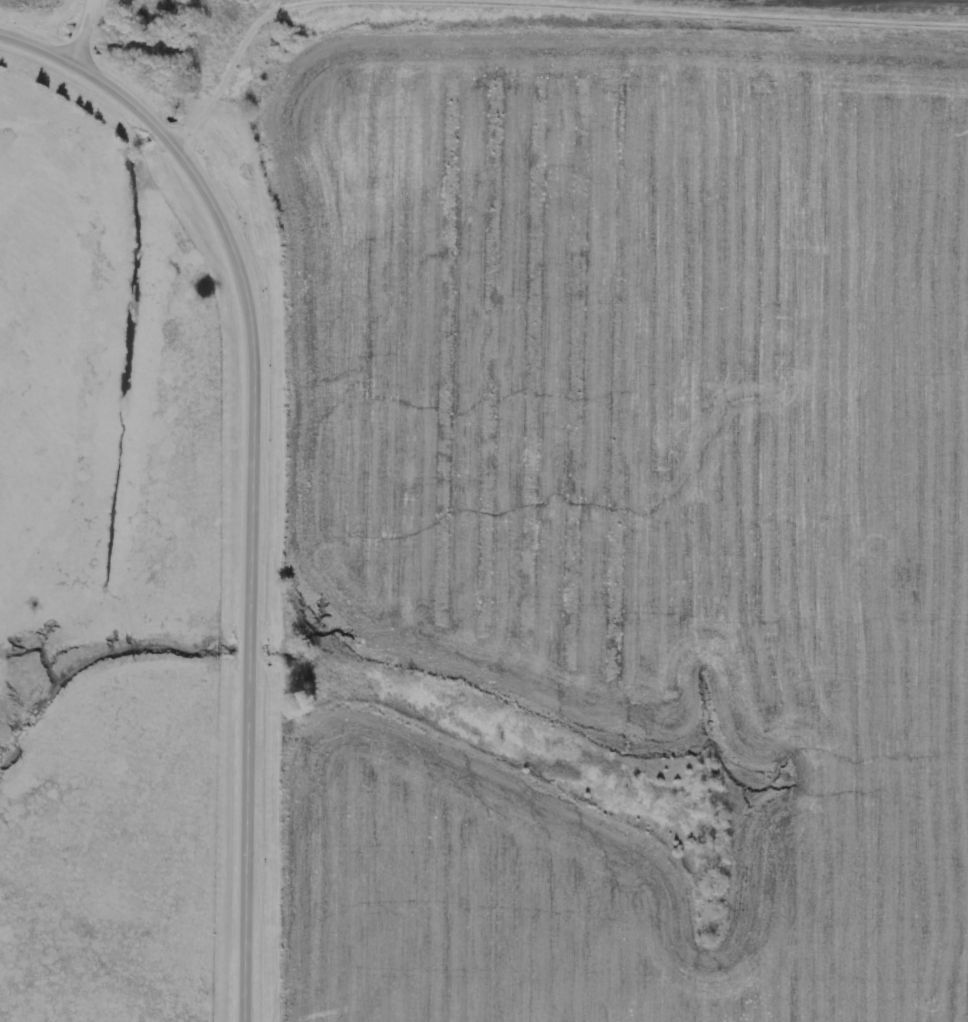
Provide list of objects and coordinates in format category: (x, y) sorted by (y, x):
road: (80, 27)
road: (250, 467)

